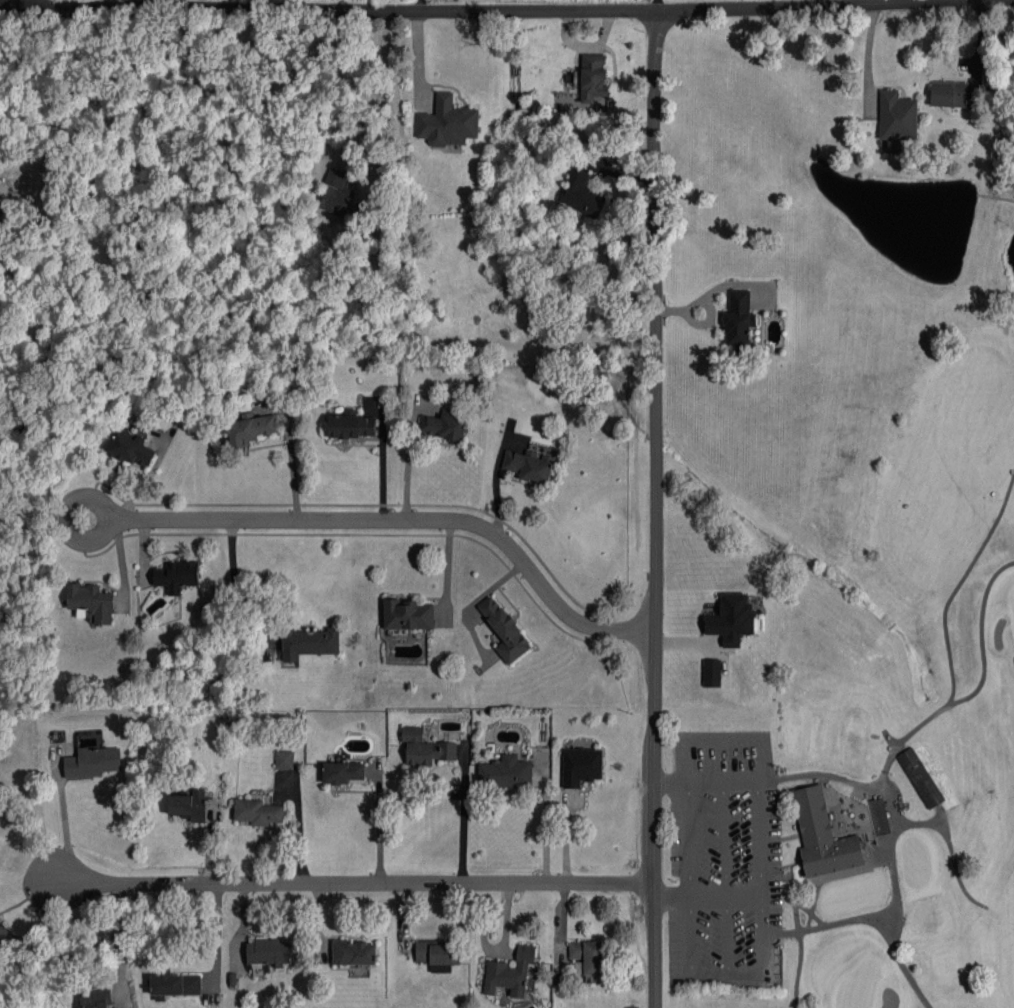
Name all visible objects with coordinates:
road: (4, 3)
road: (129, 3)
road: (660, 4)
road: (421, 5)
road: (443, 9)
road: (865, 51)
building: (593, 77)
road: (395, 104)
building: (897, 118)
building: (448, 122)
building: (337, 194)
building: (581, 194)
building: (739, 317)
building: (445, 424)
building: (352, 426)
building: (252, 428)
building: (132, 449)
building: (530, 465)
road: (291, 467)
road: (655, 507)
road: (67, 515)
road: (403, 519)
building: (177, 576)
road: (236, 583)
building: (92, 601)
park: (1012, 601)
building: (409, 614)
building: (732, 619)
building: (505, 630)
building: (308, 642)
park: (872, 645)
building: (712, 673)
building: (412, 733)
building: (430, 752)
road: (762, 752)
building: (284, 759)
building: (92, 762)
building: (581, 766)
building: (343, 772)
building: (505, 772)
building: (920, 778)
building: (189, 805)
building: (258, 812)
road: (465, 817)
building: (877, 817)
road: (941, 821)
road: (541, 826)
road: (380, 827)
road: (72, 832)
building: (820, 839)
park: (915, 862)
parking lot: (723, 863)
road: (688, 874)
road: (723, 874)
road: (758, 874)
road: (349, 882)
road: (706, 894)
park: (853, 895)
building: (2, 931)
road: (121, 933)
building: (268, 952)
building: (353, 952)
building: (438, 955)
building: (589, 955)
road: (726, 971)
building: (510, 972)
building: (175, 983)
park: (857, 986)
building: (96, 999)

